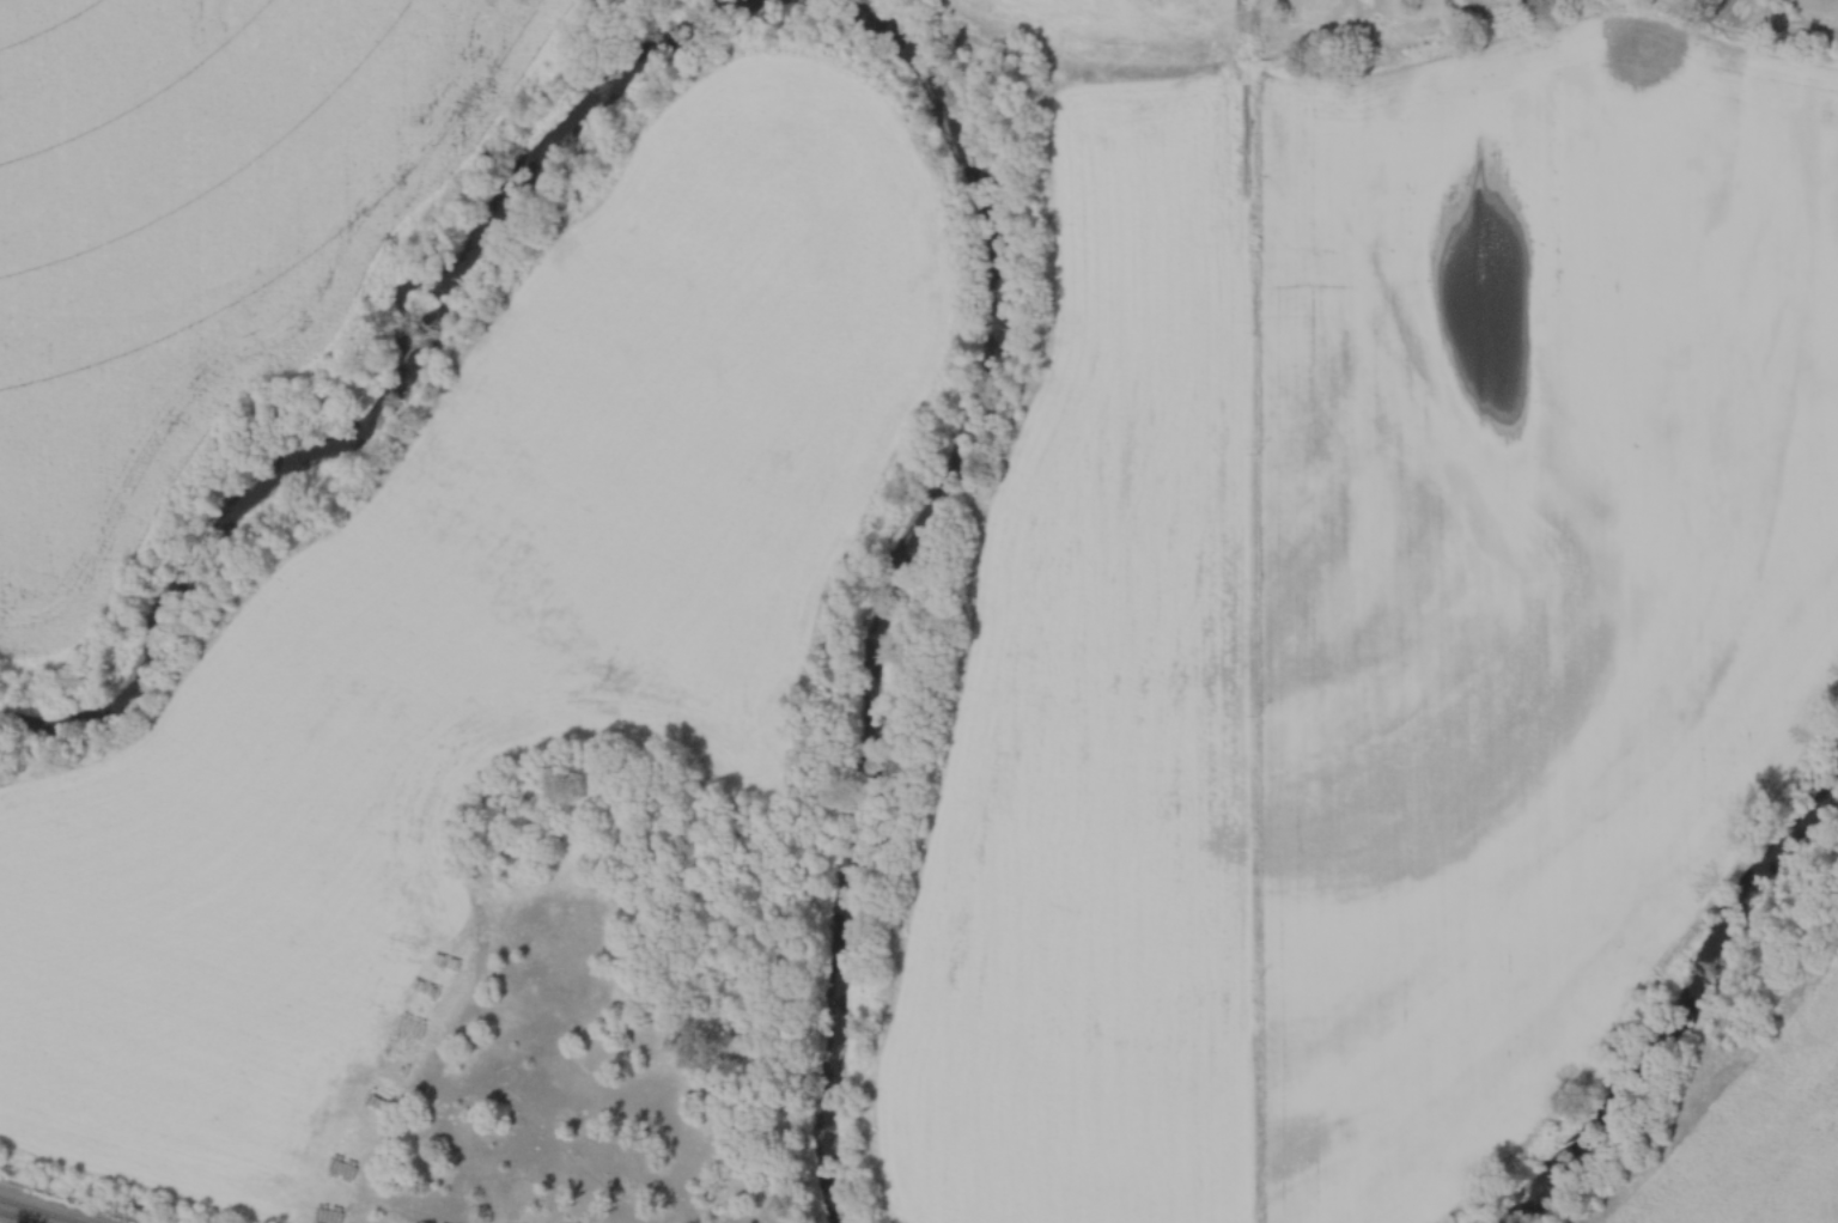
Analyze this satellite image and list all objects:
railway: (42, 1209)
railway: (23, 1216)
building: (302, 1221)

